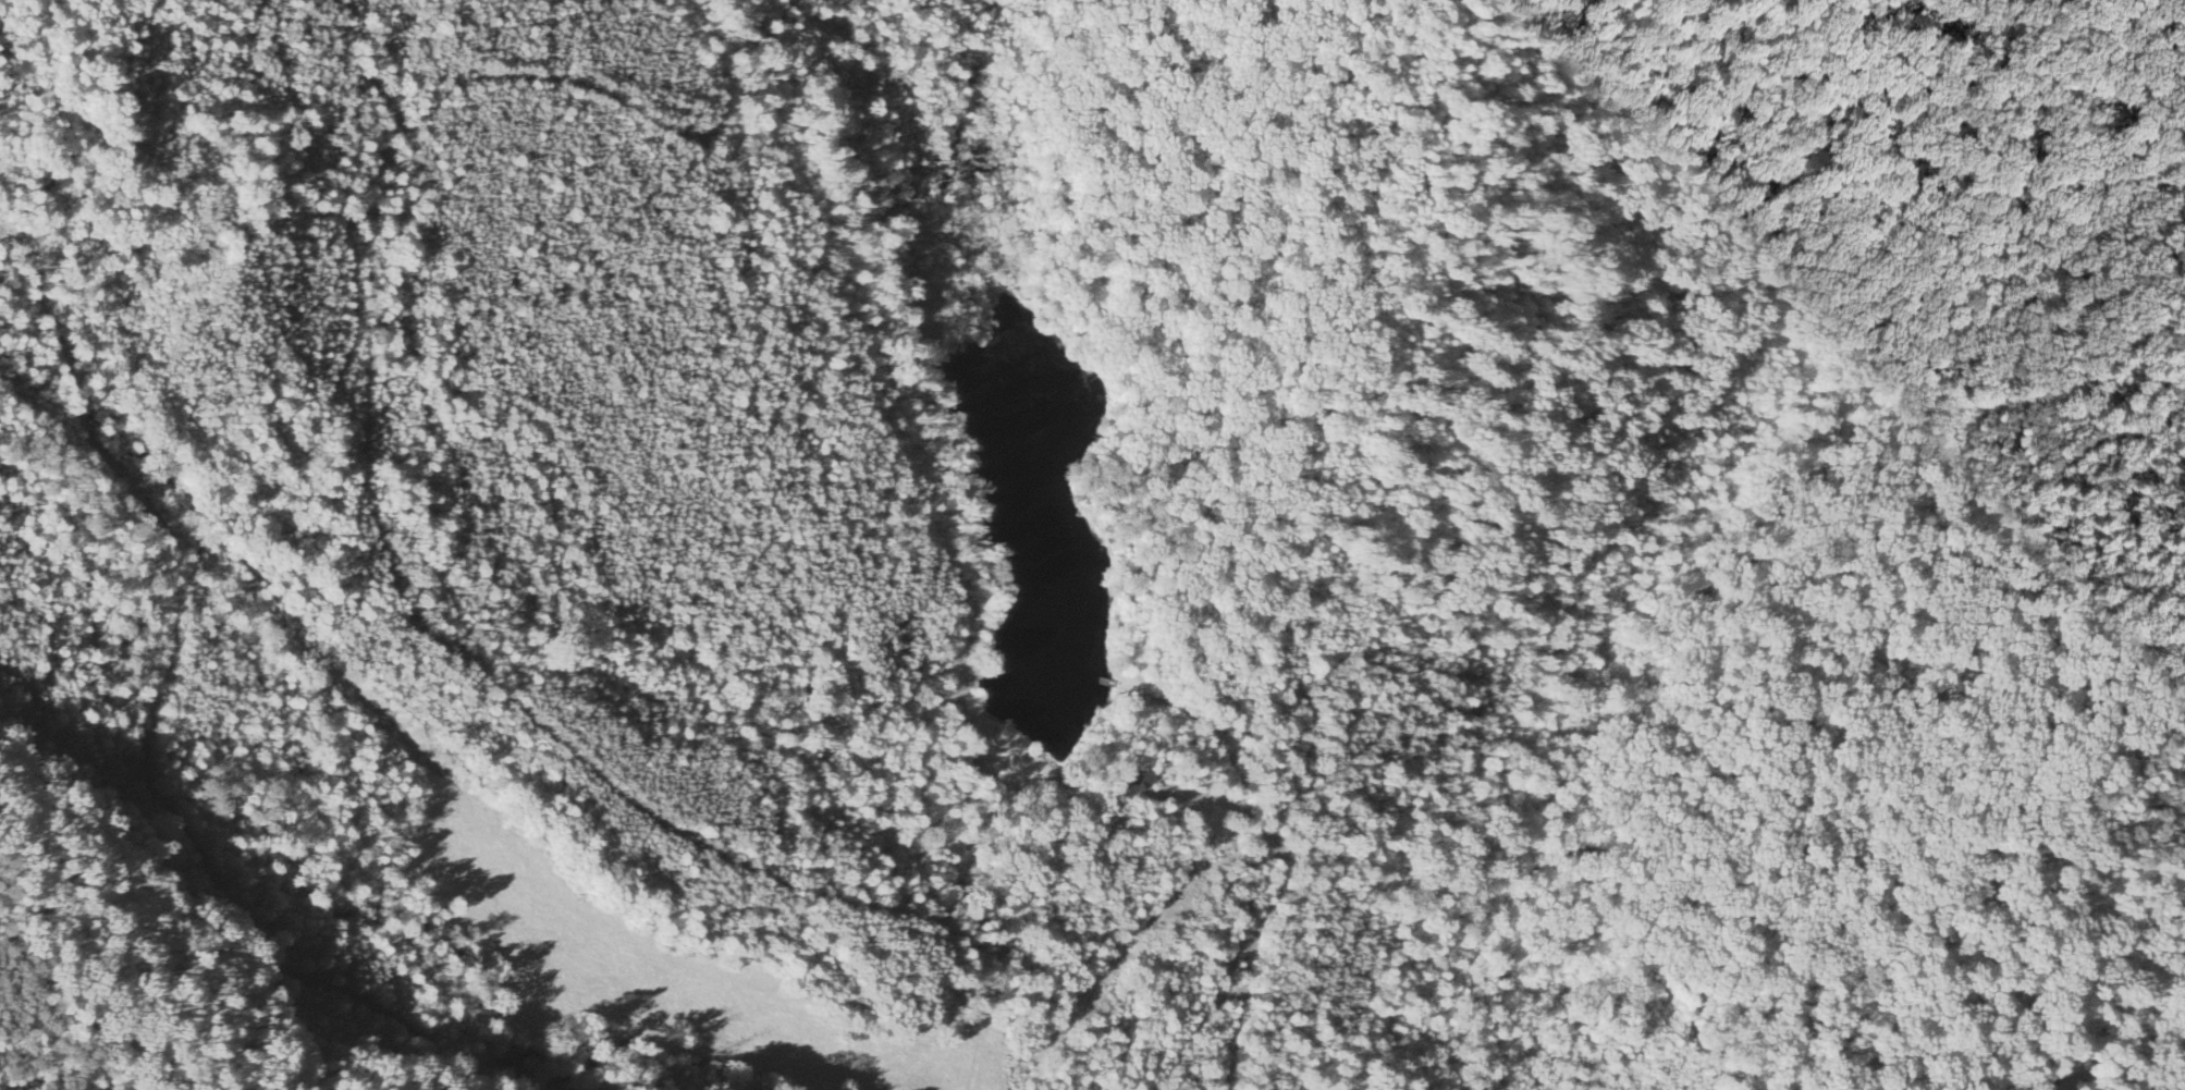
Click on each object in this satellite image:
road: (809, 501)
road: (122, 764)
road: (1279, 920)

